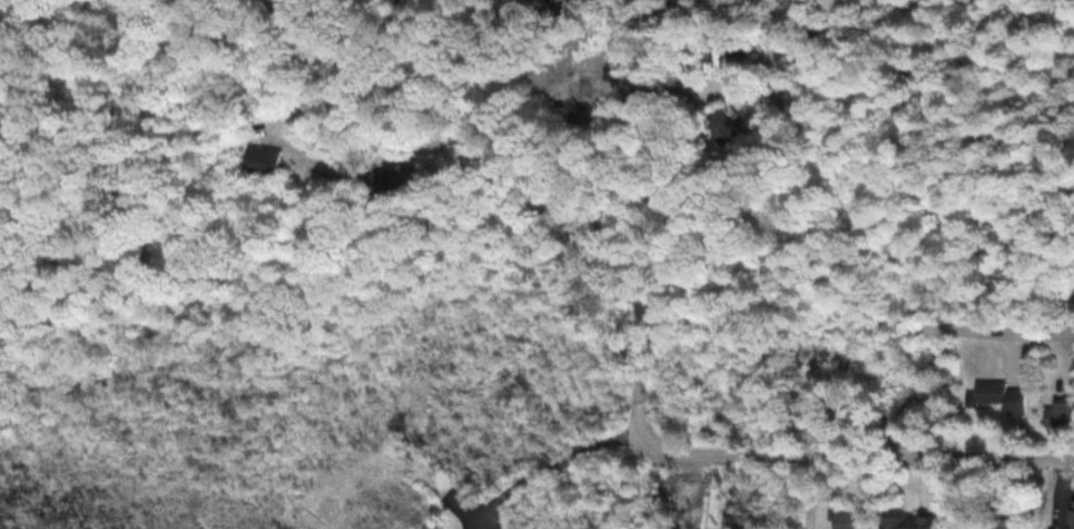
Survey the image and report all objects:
building: (738, 66)
building: (725, 125)
building: (260, 159)
building: (396, 178)
road: (582, 189)
road: (856, 326)
building: (997, 396)
building: (1060, 414)
road: (853, 455)
road: (543, 468)
building: (908, 522)
building: (999, 523)

